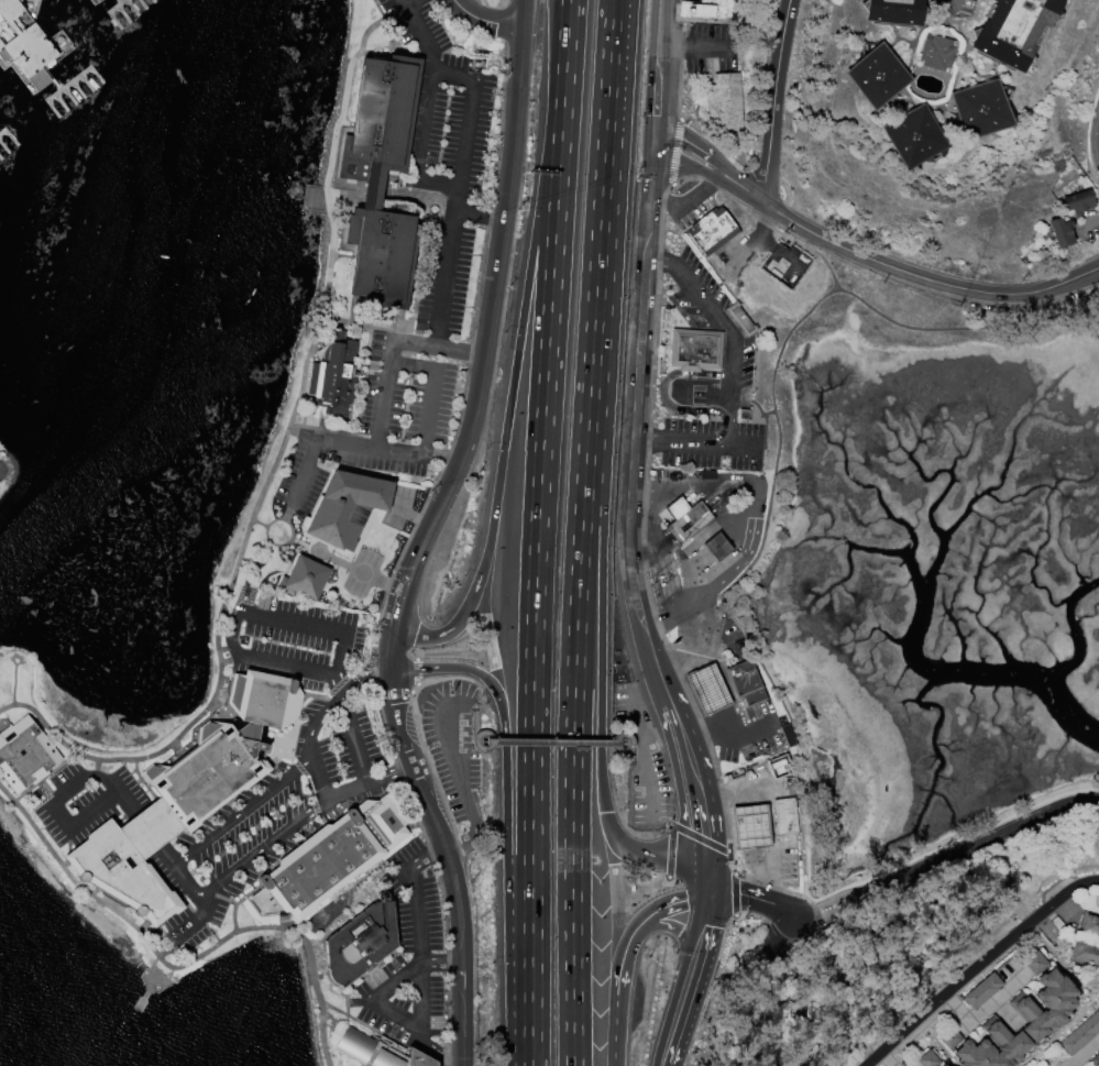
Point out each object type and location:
building: (98, 0)
parking lot: (704, 0)
road: (415, 3)
building: (711, 8)
road: (954, 8)
building: (894, 11)
road: (524, 13)
road: (396, 14)
road: (485, 20)
road: (660, 22)
building: (1014, 30)
road: (421, 33)
building: (26, 41)
road: (700, 46)
parking lot: (713, 48)
road: (565, 51)
building: (937, 52)
building: (878, 76)
road: (656, 92)
road: (774, 101)
building: (728, 102)
building: (980, 110)
building: (914, 136)
traffic signals: (653, 140)
road: (682, 150)
building: (381, 182)
road: (736, 184)
road: (453, 186)
road: (601, 195)
road: (690, 202)
building: (1078, 202)
parking lot: (693, 210)
road: (480, 218)
building: (711, 230)
building: (1060, 231)
road: (823, 261)
road: (447, 265)
building: (784, 271)
road: (924, 279)
parking lot: (697, 294)
road: (494, 298)
road: (550, 306)
road: (523, 314)
building: (740, 319)
road: (726, 333)
road: (427, 343)
building: (694, 349)
road: (411, 364)
flagpole: (662, 372)
building: (333, 374)
road: (637, 385)
parking lot: (716, 385)
road: (664, 389)
road: (749, 400)
road: (765, 425)
road: (301, 438)
road: (697, 443)
road: (356, 444)
parking lot: (712, 444)
road: (777, 447)
road: (271, 472)
road: (746, 479)
road: (716, 482)
road: (659, 488)
road: (583, 491)
building: (347, 508)
road: (652, 518)
building: (685, 518)
road: (690, 523)
road: (595, 535)
parking lot: (449, 537)
road: (750, 539)
building: (716, 546)
road: (651, 550)
road: (673, 573)
road: (725, 574)
building: (304, 579)
road: (666, 579)
road: (658, 584)
gas station: (714, 604)
road: (675, 609)
road: (395, 611)
road: (465, 611)
road: (485, 619)
road: (297, 622)
parking lot: (729, 627)
road: (224, 630)
road: (444, 650)
road: (655, 666)
road: (416, 667)
road: (455, 667)
building: (744, 682)
building: (707, 688)
road: (440, 690)
road: (391, 693)
road: (389, 700)
road: (474, 704)
road: (675, 713)
road: (735, 726)
road: (418, 732)
road: (661, 733)
road: (620, 735)
parking lot: (752, 735)
road: (628, 736)
road: (433, 743)
road: (553, 743)
road: (600, 744)
road: (475, 745)
road: (688, 745)
road: (476, 746)
parking lot: (453, 751)
building: (24, 754)
road: (645, 754)
road: (630, 758)
parking lot: (645, 761)
road: (638, 766)
building: (779, 766)
road: (315, 768)
road: (505, 768)
road: (411, 770)
road: (457, 771)
road: (290, 772)
road: (108, 783)
road: (367, 784)
road: (531, 788)
building: (187, 796)
building: (784, 815)
road: (628, 816)
gas station: (766, 818)
road: (651, 824)
road: (707, 825)
building: (751, 826)
road: (436, 828)
road: (572, 828)
road: (700, 838)
traffic signals: (708, 839)
road: (671, 843)
road: (259, 847)
road: (625, 847)
road: (947, 859)
building: (330, 864)
road: (690, 870)
road: (778, 871)
road: (663, 883)
traffic signals: (708, 884)
road: (735, 892)
road: (740, 893)
road: (616, 898)
traffic signals: (686, 900)
road: (666, 905)
road: (458, 908)
road: (784, 909)
road: (234, 921)
road: (703, 925)
traffic signals: (704, 925)
road: (189, 926)
road: (673, 927)
road: (810, 931)
building: (1088, 942)
building: (364, 943)
road: (514, 946)
road: (164, 947)
road: (440, 960)
road: (622, 963)
building: (1033, 963)
road: (182, 966)
road: (978, 966)
road: (460, 978)
building: (981, 990)
road: (422, 998)
building: (1043, 1005)
pier: (136, 1009)
road: (460, 1012)
road: (679, 1015)
road: (615, 1026)
building: (1007, 1040)
road: (438, 1051)
road: (461, 1051)
road: (1081, 1051)
building: (375, 1052)
building: (1095, 1059)
road: (531, 1065)
building: (942, 1065)

